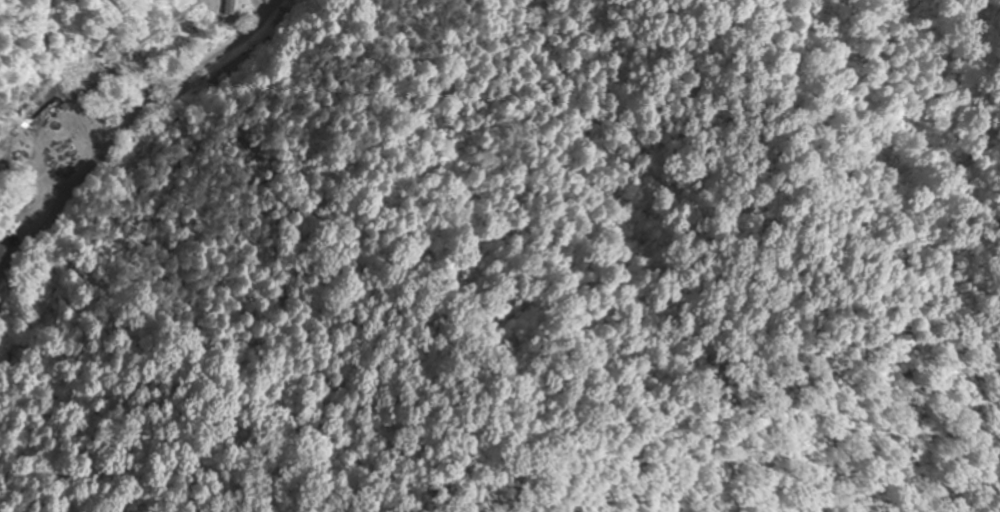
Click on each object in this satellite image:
building: (228, 7)
building: (48, 119)
building: (3, 256)

